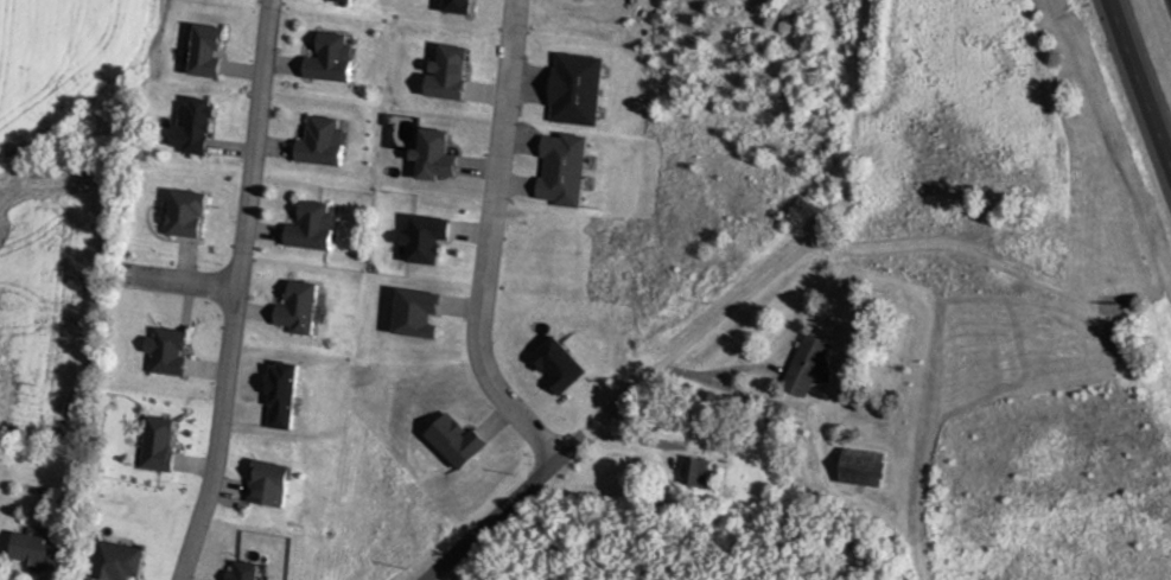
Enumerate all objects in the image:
building: (345, 0)
building: (210, 51)
building: (335, 58)
road: (1138, 85)
building: (196, 128)
building: (325, 142)
building: (187, 213)
building: (314, 227)
road: (490, 235)
road: (234, 291)
building: (301, 310)
building: (171, 351)
building: (810, 365)
road: (609, 397)
building: (161, 444)
building: (867, 469)
building: (701, 473)
building: (274, 485)
building: (39, 553)
building: (122, 562)

